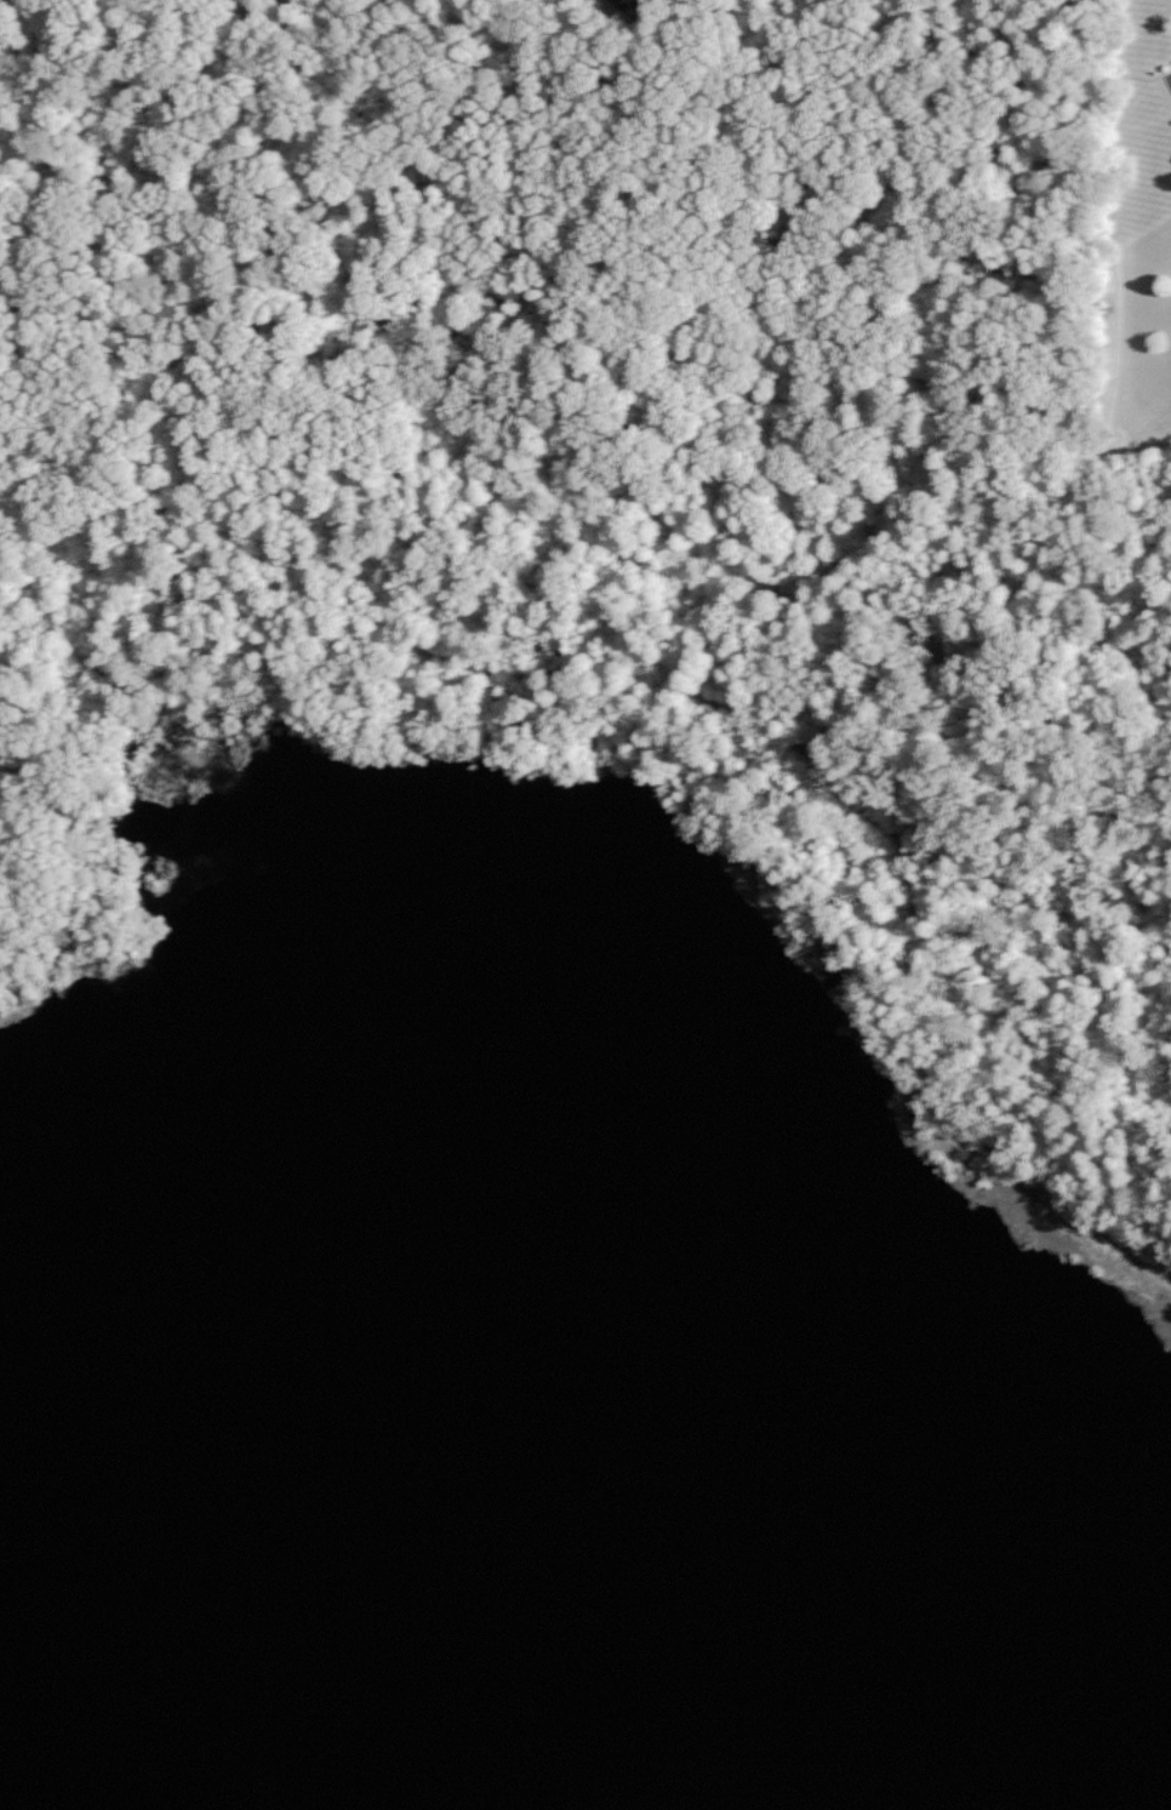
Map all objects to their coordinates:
building: (615, 0)
building: (640, 4)

